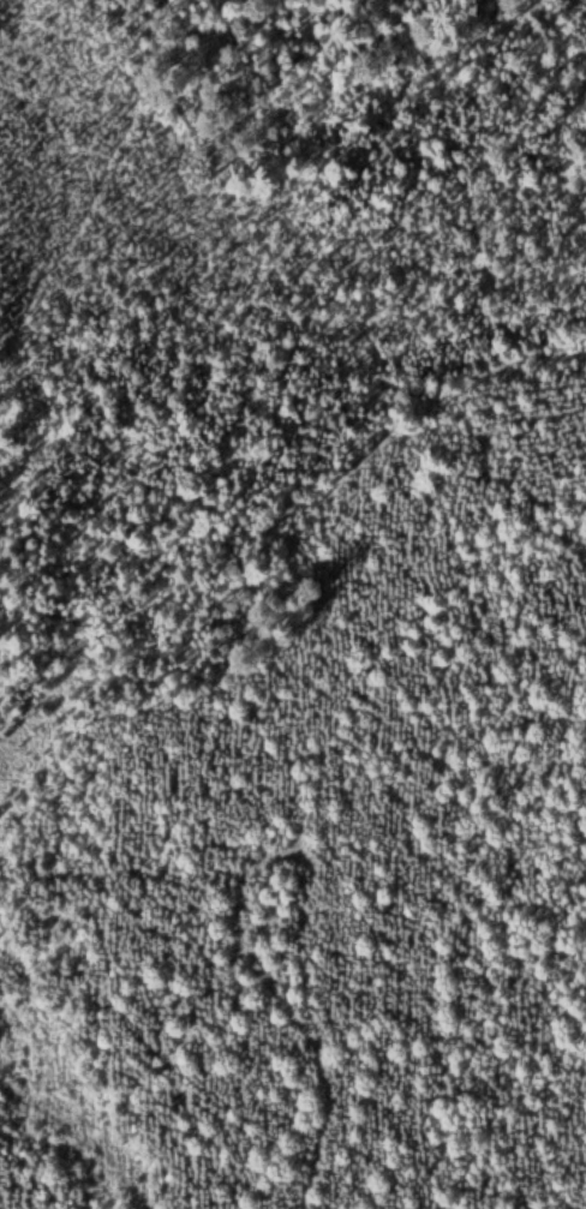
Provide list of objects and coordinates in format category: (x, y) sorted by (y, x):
road: (285, 856)
road: (311, 1127)

